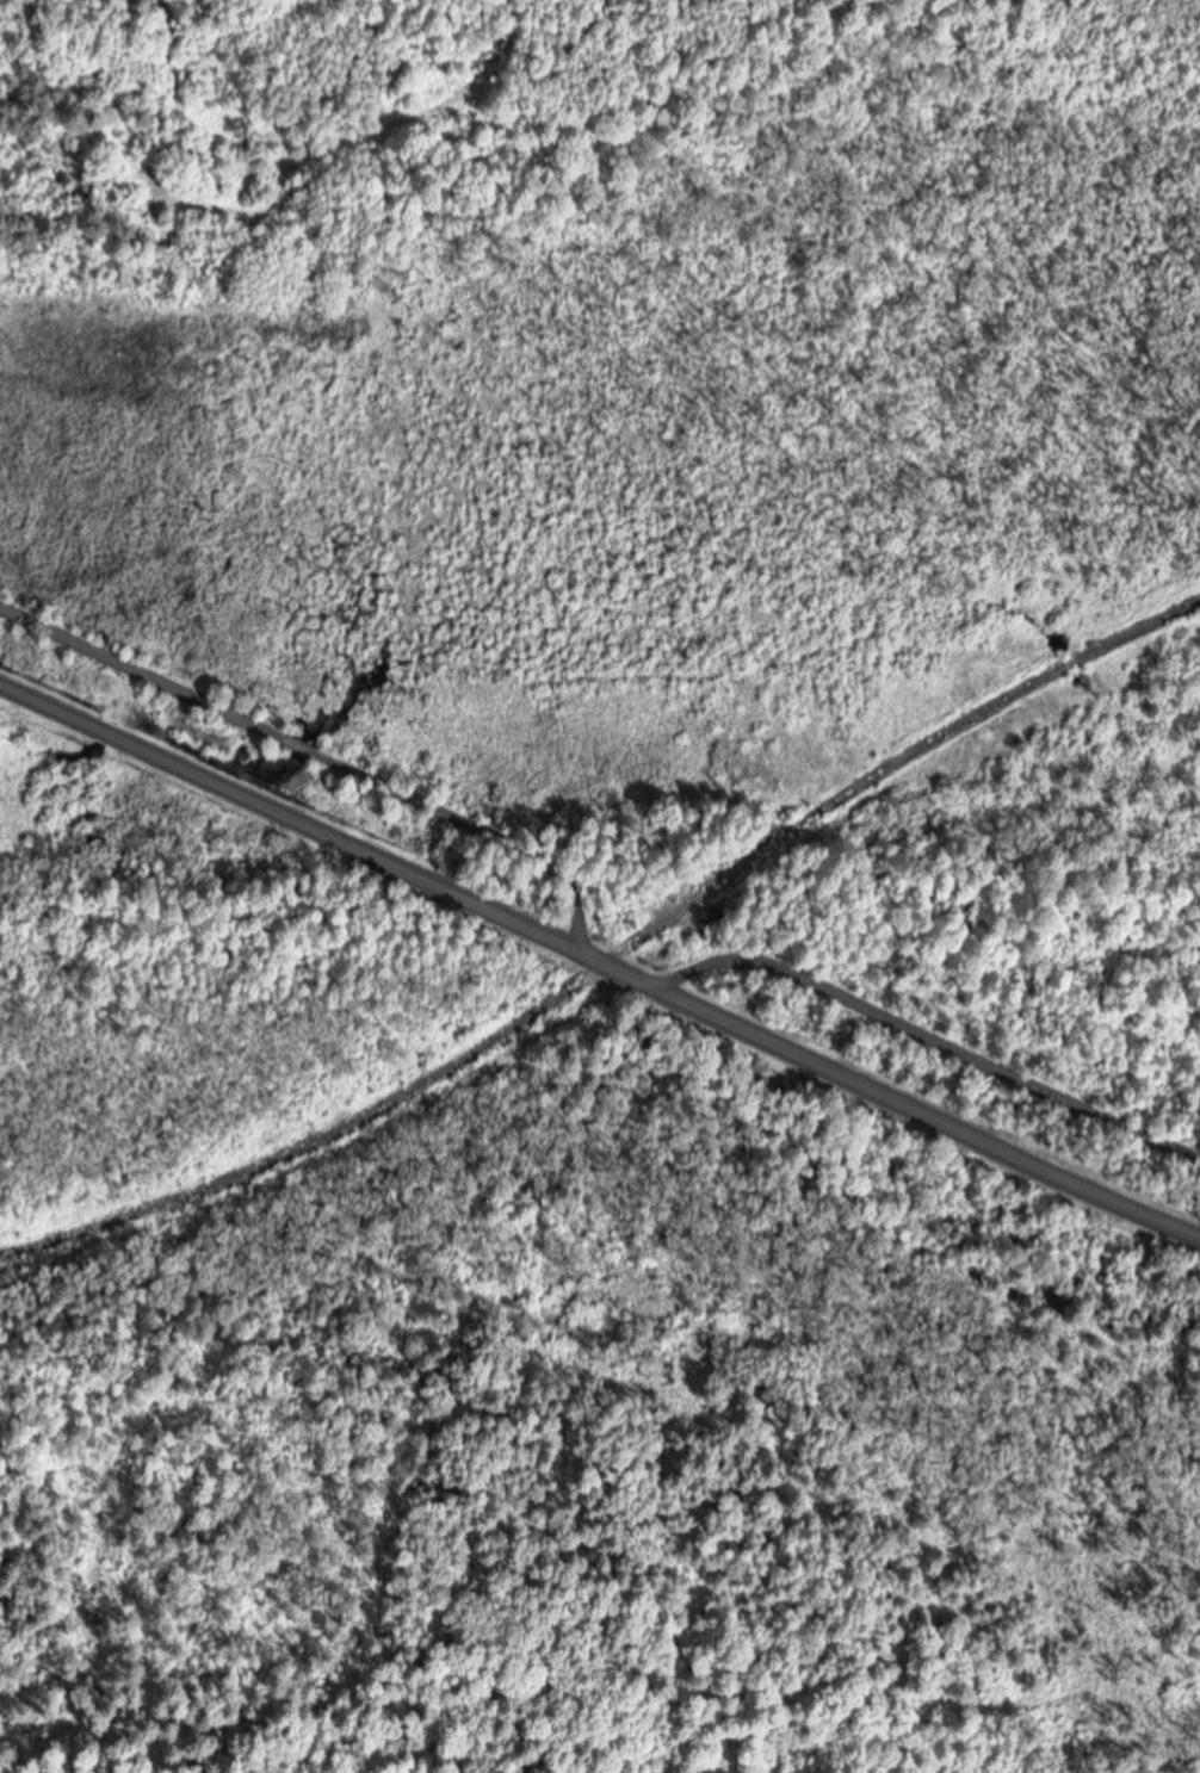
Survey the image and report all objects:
road: (599, 887)
railway: (613, 959)
road: (599, 961)

